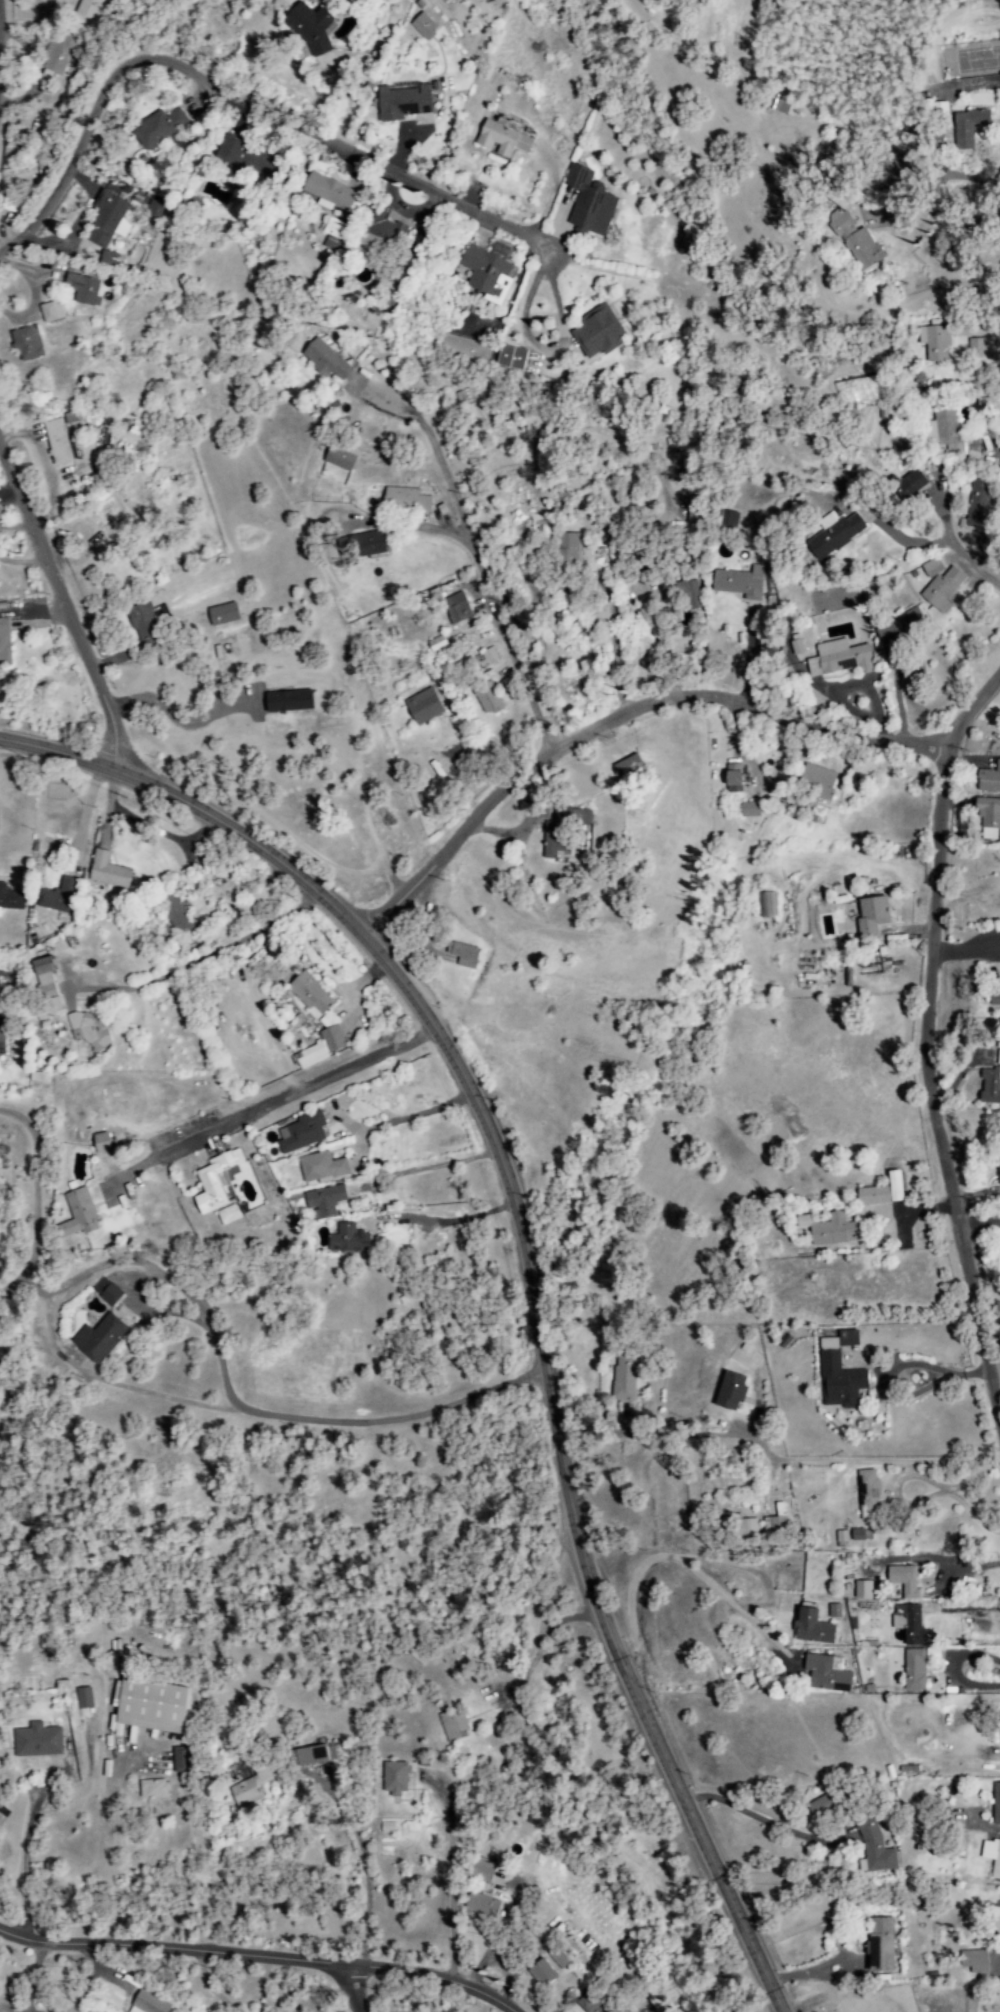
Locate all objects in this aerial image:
building: (88, 9)
building: (422, 26)
building: (308, 27)
building: (56, 60)
road: (237, 99)
building: (402, 101)
building: (781, 105)
building: (156, 128)
building: (968, 129)
building: (501, 138)
building: (226, 150)
building: (827, 164)
building: (327, 192)
building: (588, 203)
building: (151, 210)
building: (106, 220)
building: (381, 226)
building: (333, 235)
building: (853, 242)
building: (392, 268)
building: (487, 272)
building: (81, 290)
building: (50, 312)
building: (596, 333)
building: (933, 343)
building: (25, 344)
building: (975, 348)
building: (464, 349)
building: (510, 358)
building: (325, 362)
building: (942, 432)
building: (56, 442)
road: (433, 449)
building: (339, 457)
building: (404, 499)
building: (979, 503)
building: (691, 511)
building: (833, 535)
building: (363, 545)
building: (569, 552)
building: (738, 583)
building: (941, 590)
building: (686, 597)
building: (456, 609)
road: (68, 611)
building: (158, 614)
building: (221, 615)
building: (140, 619)
building: (899, 628)
building: (4, 643)
building: (435, 645)
building: (795, 645)
road: (514, 646)
building: (838, 659)
building: (485, 699)
road: (662, 703)
building: (422, 707)
building: (623, 767)
building: (988, 779)
building: (817, 782)
building: (732, 783)
building: (748, 810)
building: (988, 819)
building: (561, 830)
building: (106, 871)
building: (58, 897)
building: (10, 899)
building: (765, 906)
building: (172, 918)
building: (869, 921)
building: (462, 956)
road: (200, 959)
building: (44, 986)
building: (308, 995)
building: (994, 1000)
building: (90, 1030)
building: (331, 1040)
building: (1, 1042)
building: (309, 1057)
building: (998, 1058)
road: (930, 1085)
building: (989, 1088)
road: (304, 1089)
building: (300, 1134)
building: (100, 1143)
building: (997, 1178)
building: (215, 1182)
building: (881, 1193)
road: (37, 1194)
building: (322, 1202)
building: (882, 1211)
building: (227, 1215)
building: (76, 1216)
building: (828, 1230)
building: (347, 1240)
road: (531, 1263)
building: (106, 1292)
building: (99, 1339)
building: (1, 1348)
building: (838, 1373)
building: (623, 1378)
building: (729, 1393)
road: (345, 1419)
road: (772, 1461)
building: (867, 1491)
building: (740, 1532)
building: (903, 1581)
building: (861, 1590)
road: (667, 1605)
building: (833, 1611)
building: (910, 1624)
building: (811, 1626)
building: (913, 1670)
building: (826, 1674)
building: (83, 1702)
building: (150, 1705)
building: (452, 1725)
building: (36, 1741)
building: (313, 1754)
building: (179, 1761)
road: (125, 1777)
building: (393, 1779)
building: (250, 1785)
building: (152, 1790)
building: (995, 1804)
building: (819, 1808)
road: (760, 1823)
building: (386, 1828)
building: (873, 1849)
building: (991, 1857)
building: (481, 1871)
road: (328, 1876)
road: (457, 1888)
building: (481, 1906)
building: (879, 1945)
road: (258, 1958)
building: (974, 1962)
building: (541, 1974)
road: (351, 1989)
building: (591, 2002)
building: (147, 2003)

